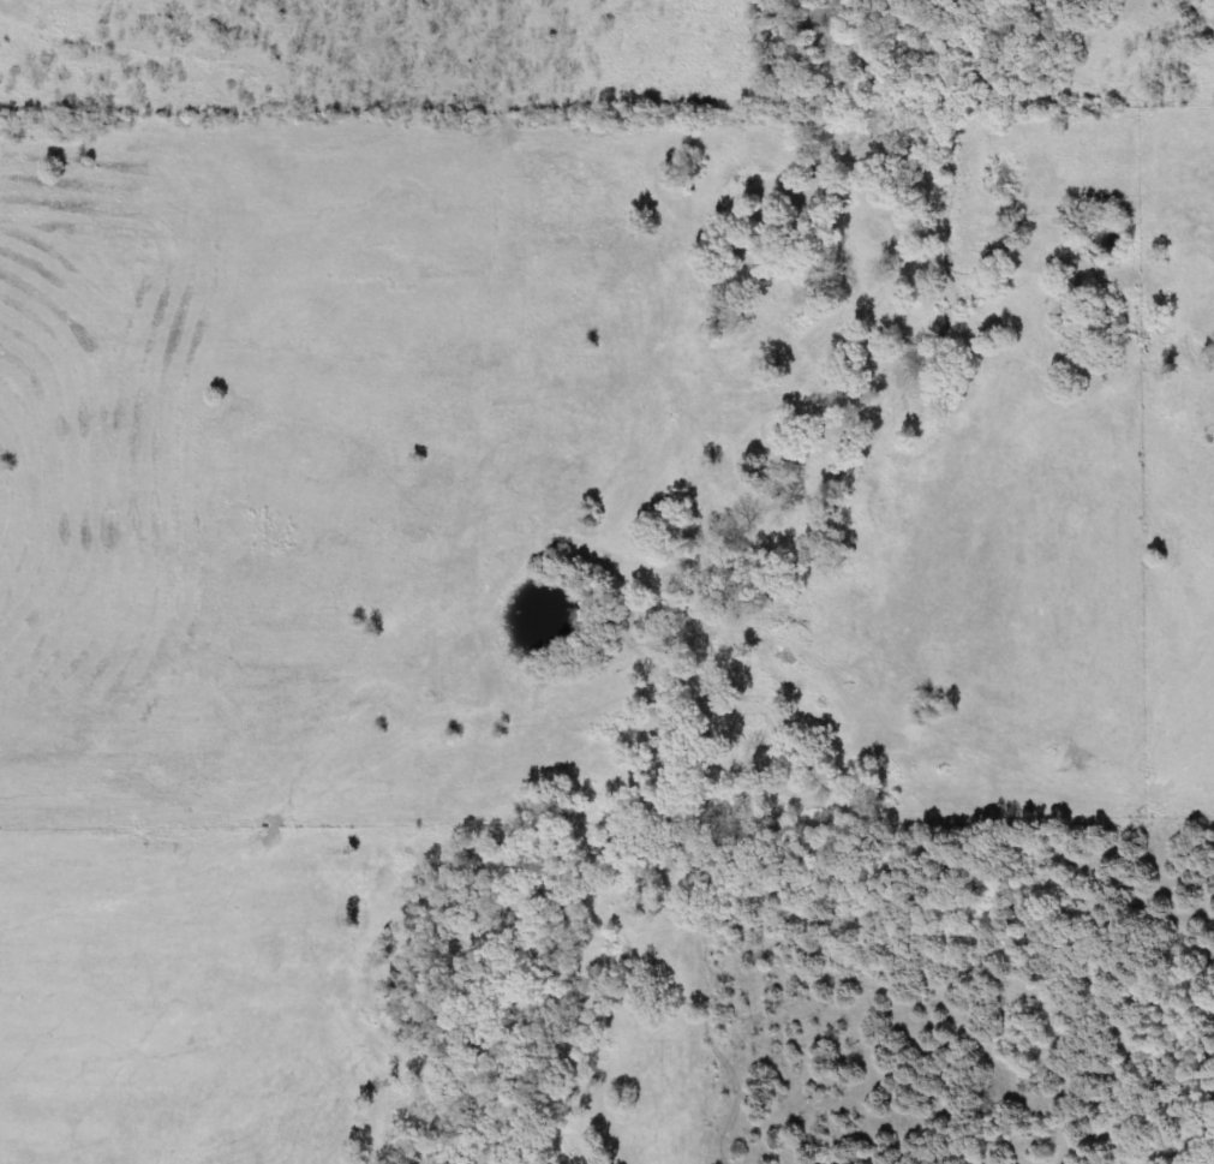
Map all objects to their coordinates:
road: (32, 896)

